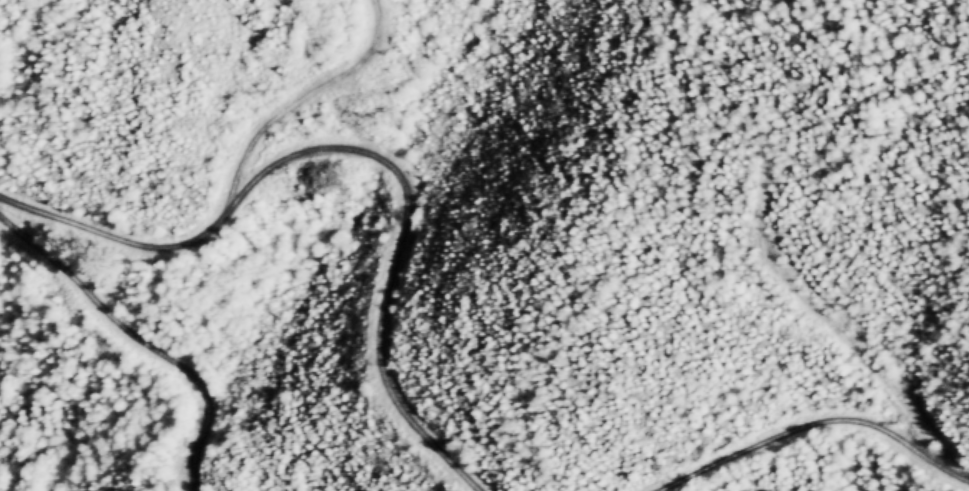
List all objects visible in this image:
road: (379, 159)
road: (136, 242)
road: (117, 346)
road: (835, 457)

